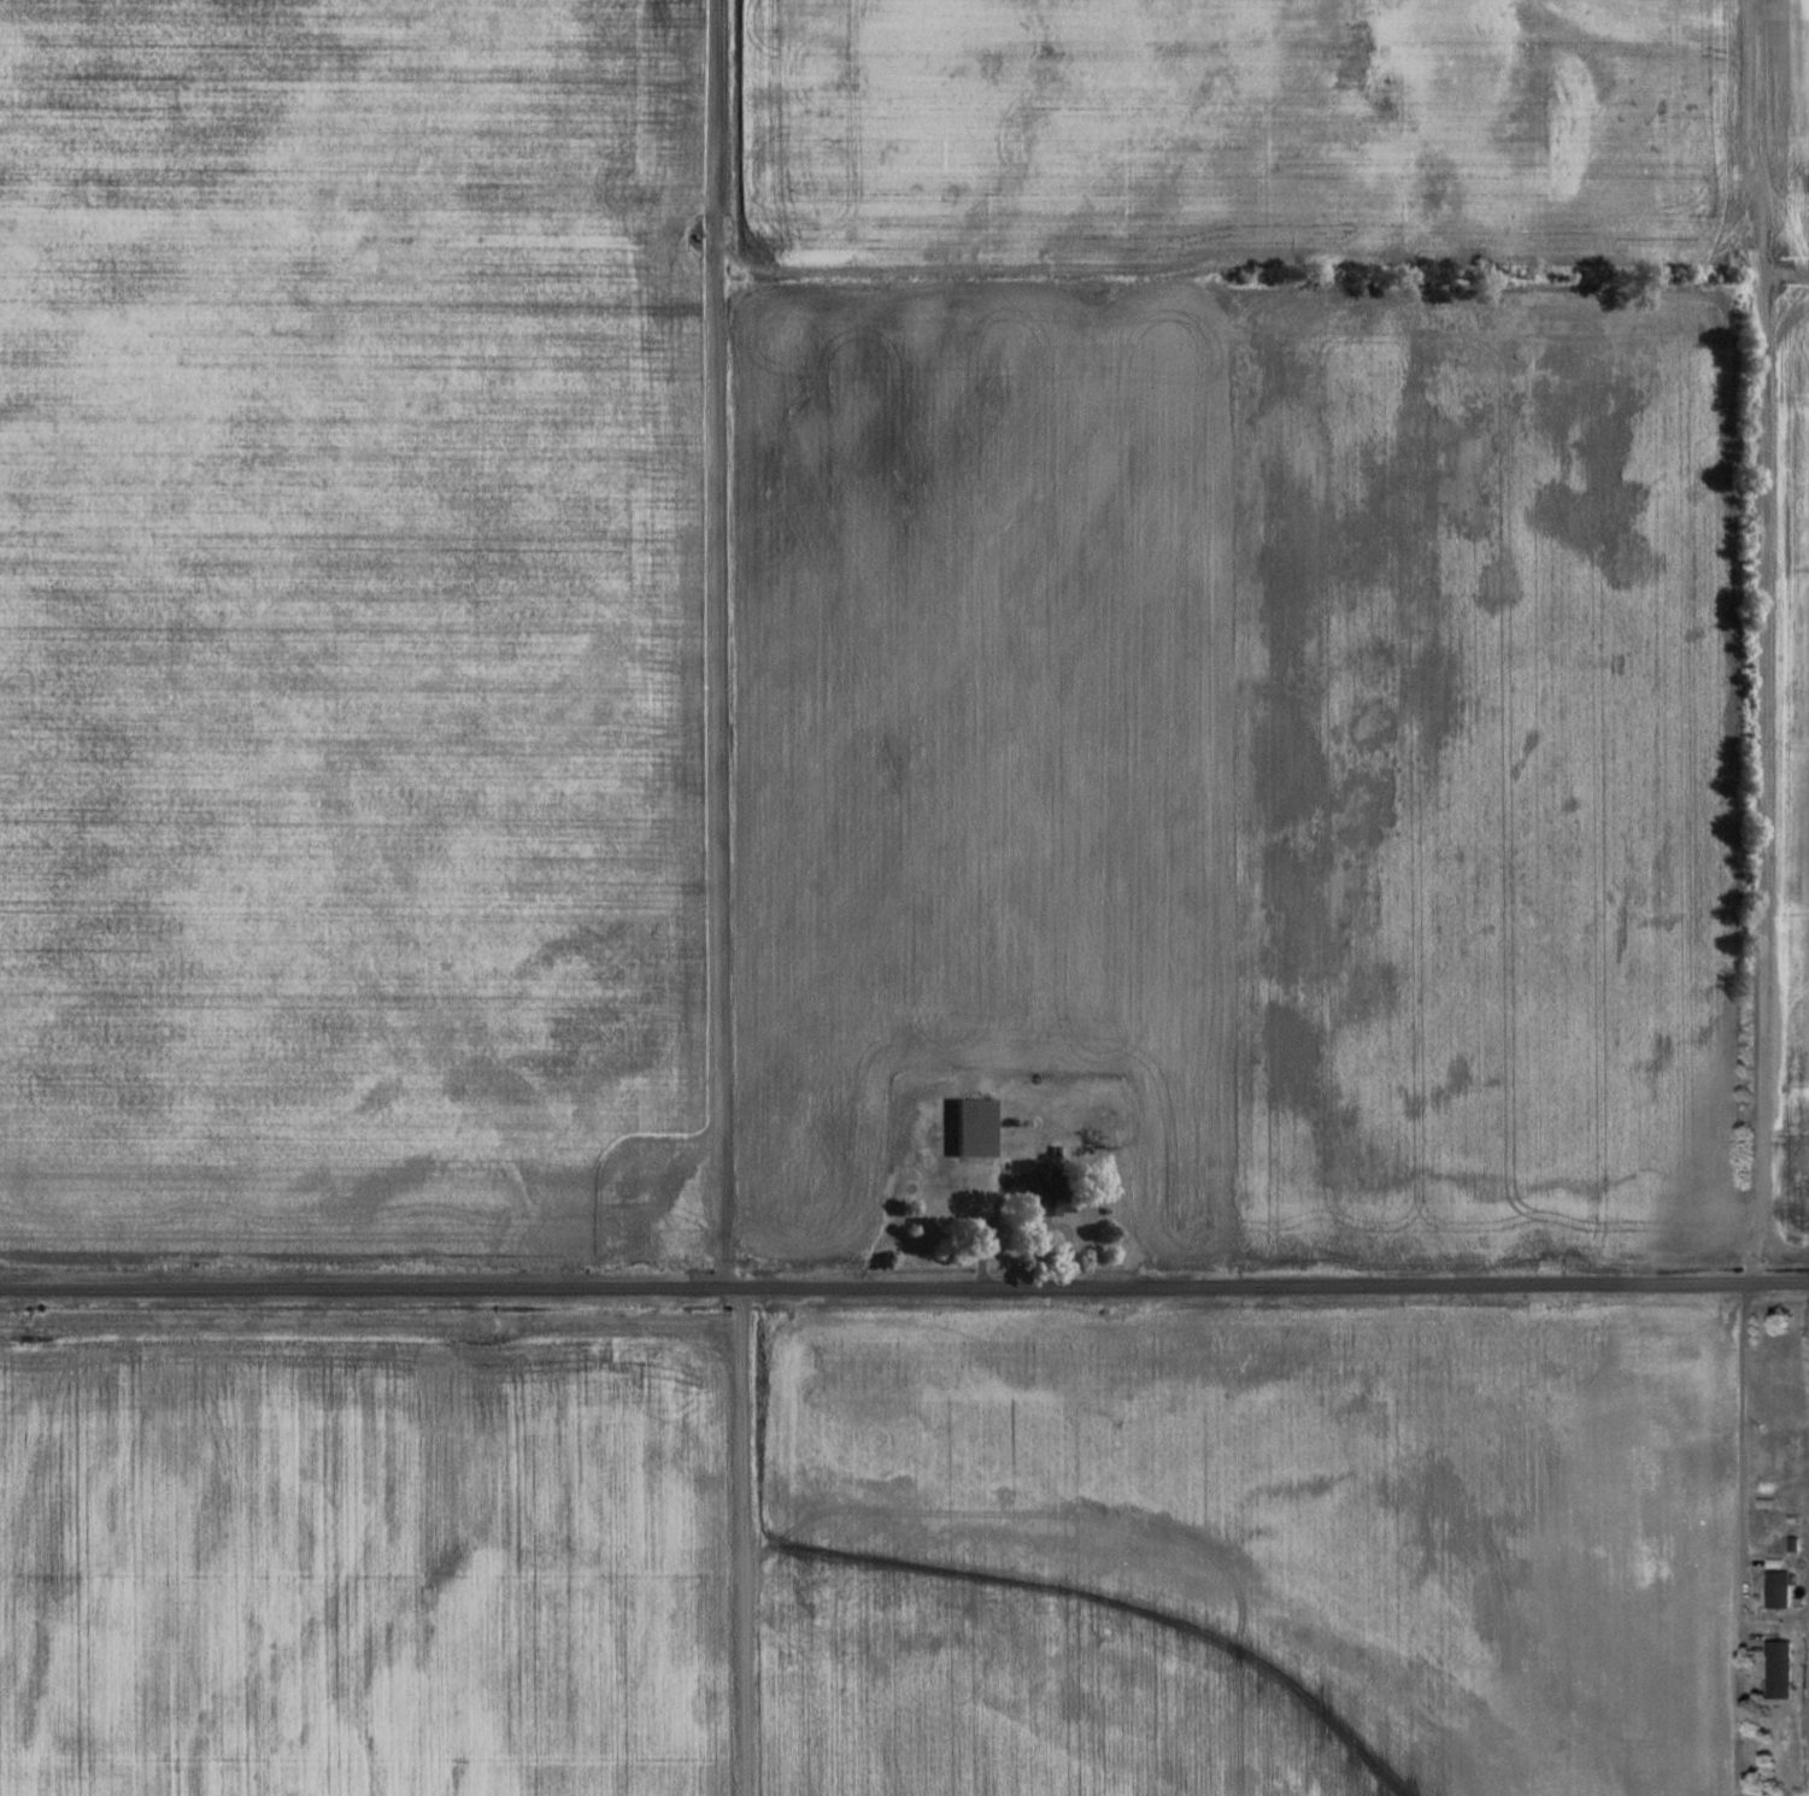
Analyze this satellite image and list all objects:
road: (715, 642)
road: (1758, 644)
building: (973, 1125)
building: (1050, 1192)
road: (904, 1284)
road: (1744, 1461)
road: (741, 1540)
building: (1795, 1542)
building: (1774, 1560)
building: (1779, 1586)
building: (1779, 1666)

